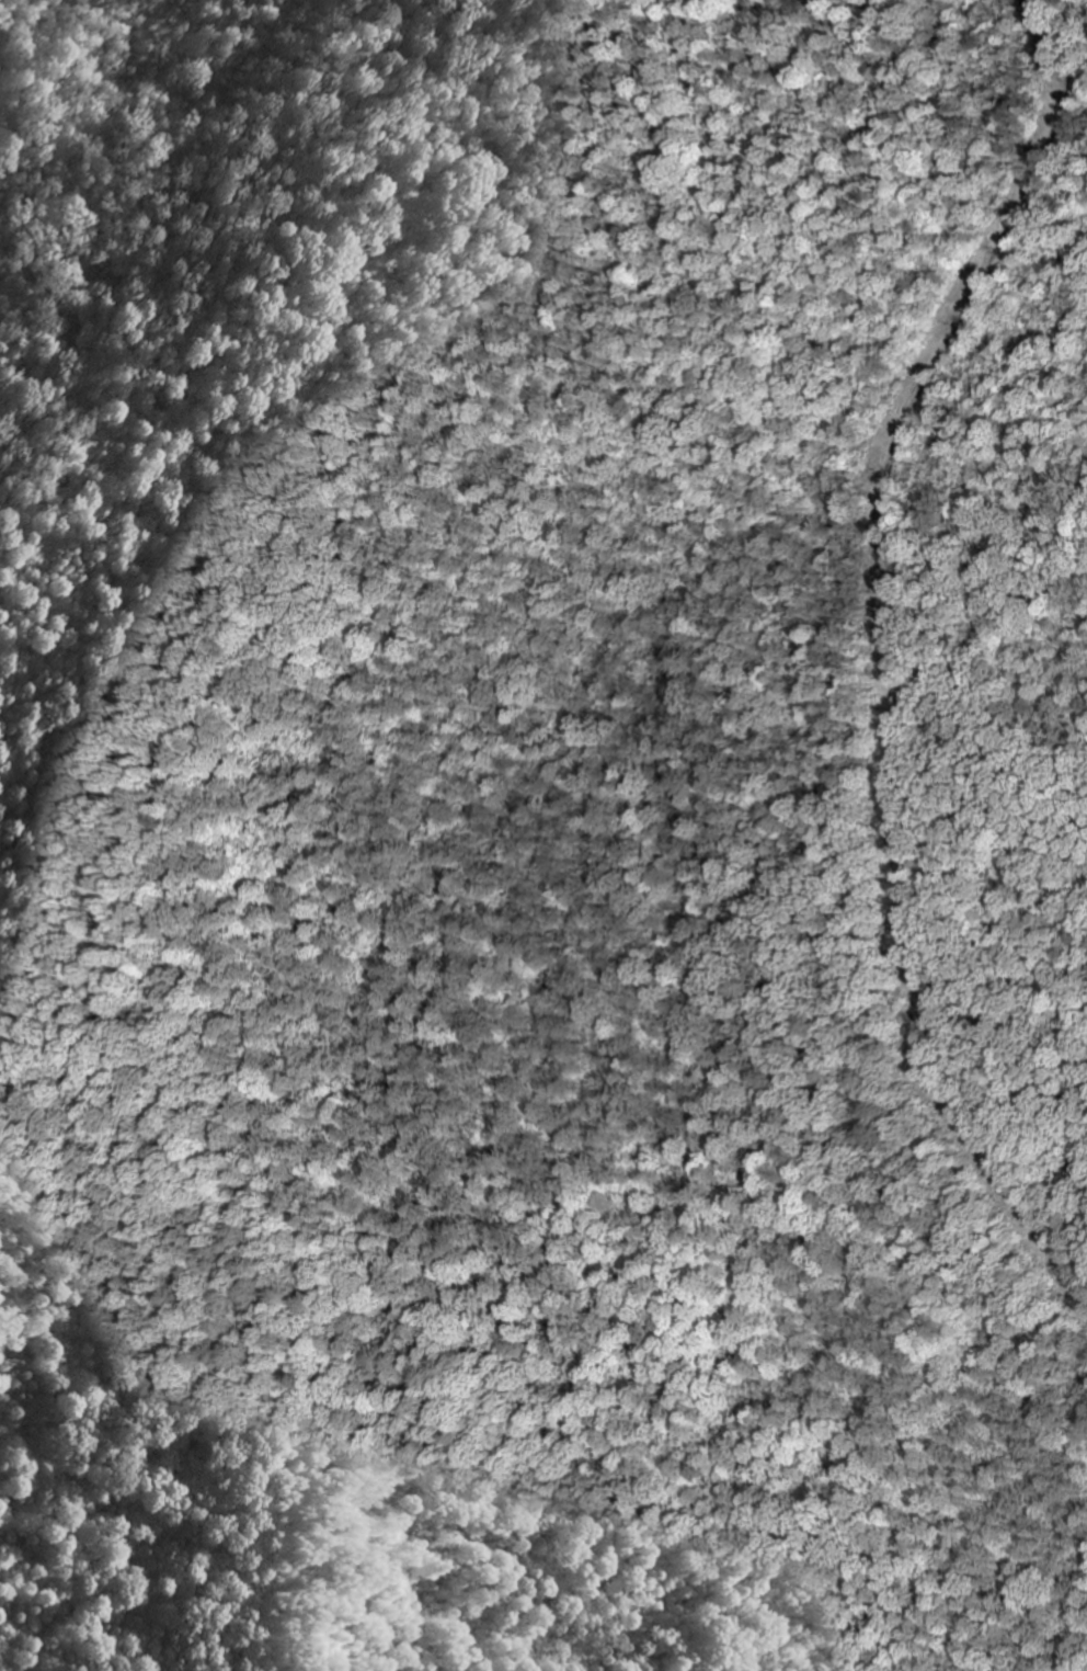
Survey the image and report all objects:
road: (48, 45)

